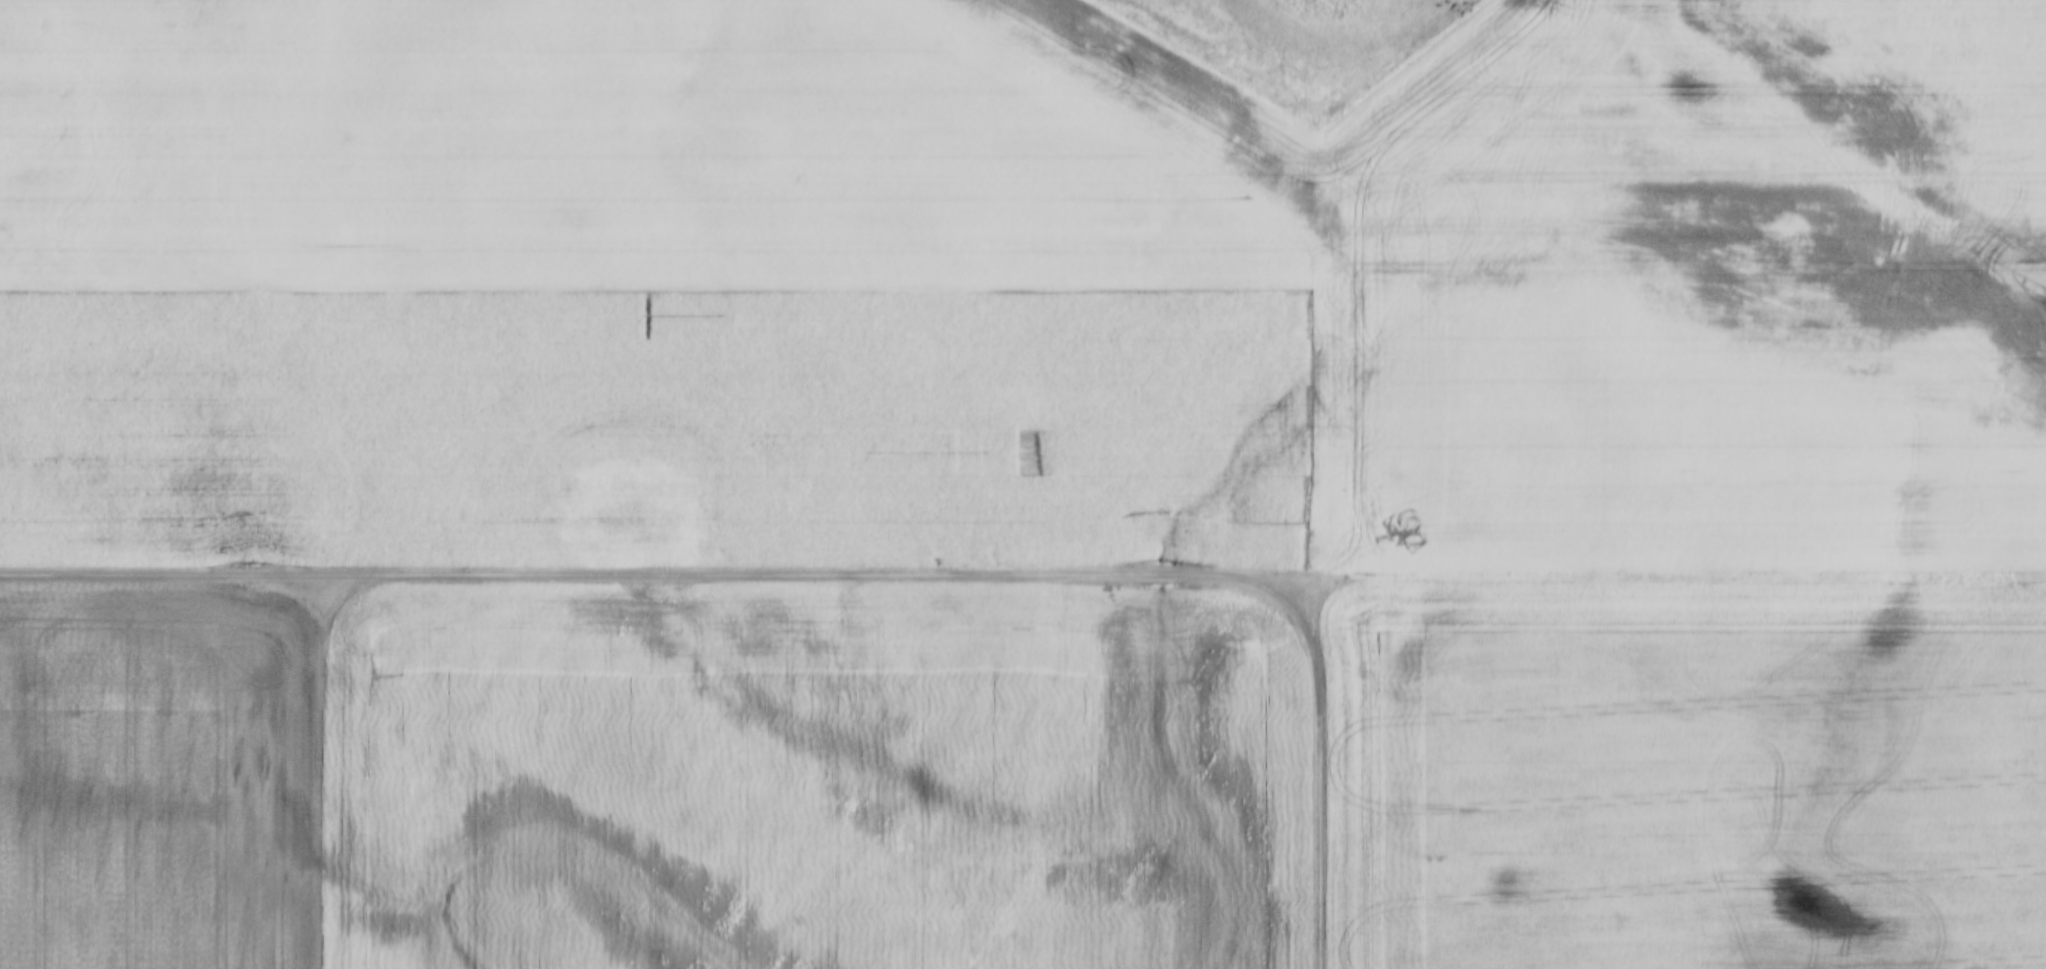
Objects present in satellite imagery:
road: (1023, 572)
road: (1322, 772)

